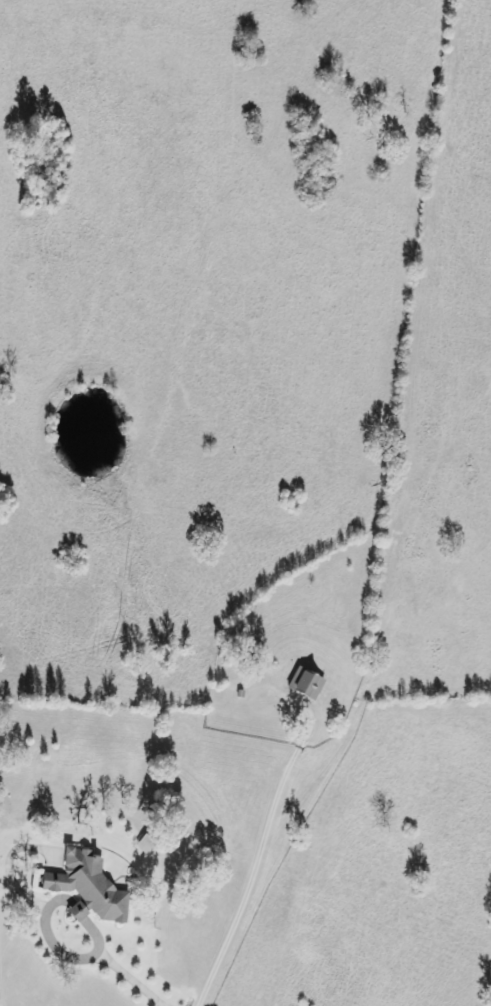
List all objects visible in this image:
building: (309, 684)
road: (75, 903)
road: (90, 928)
road: (80, 956)

